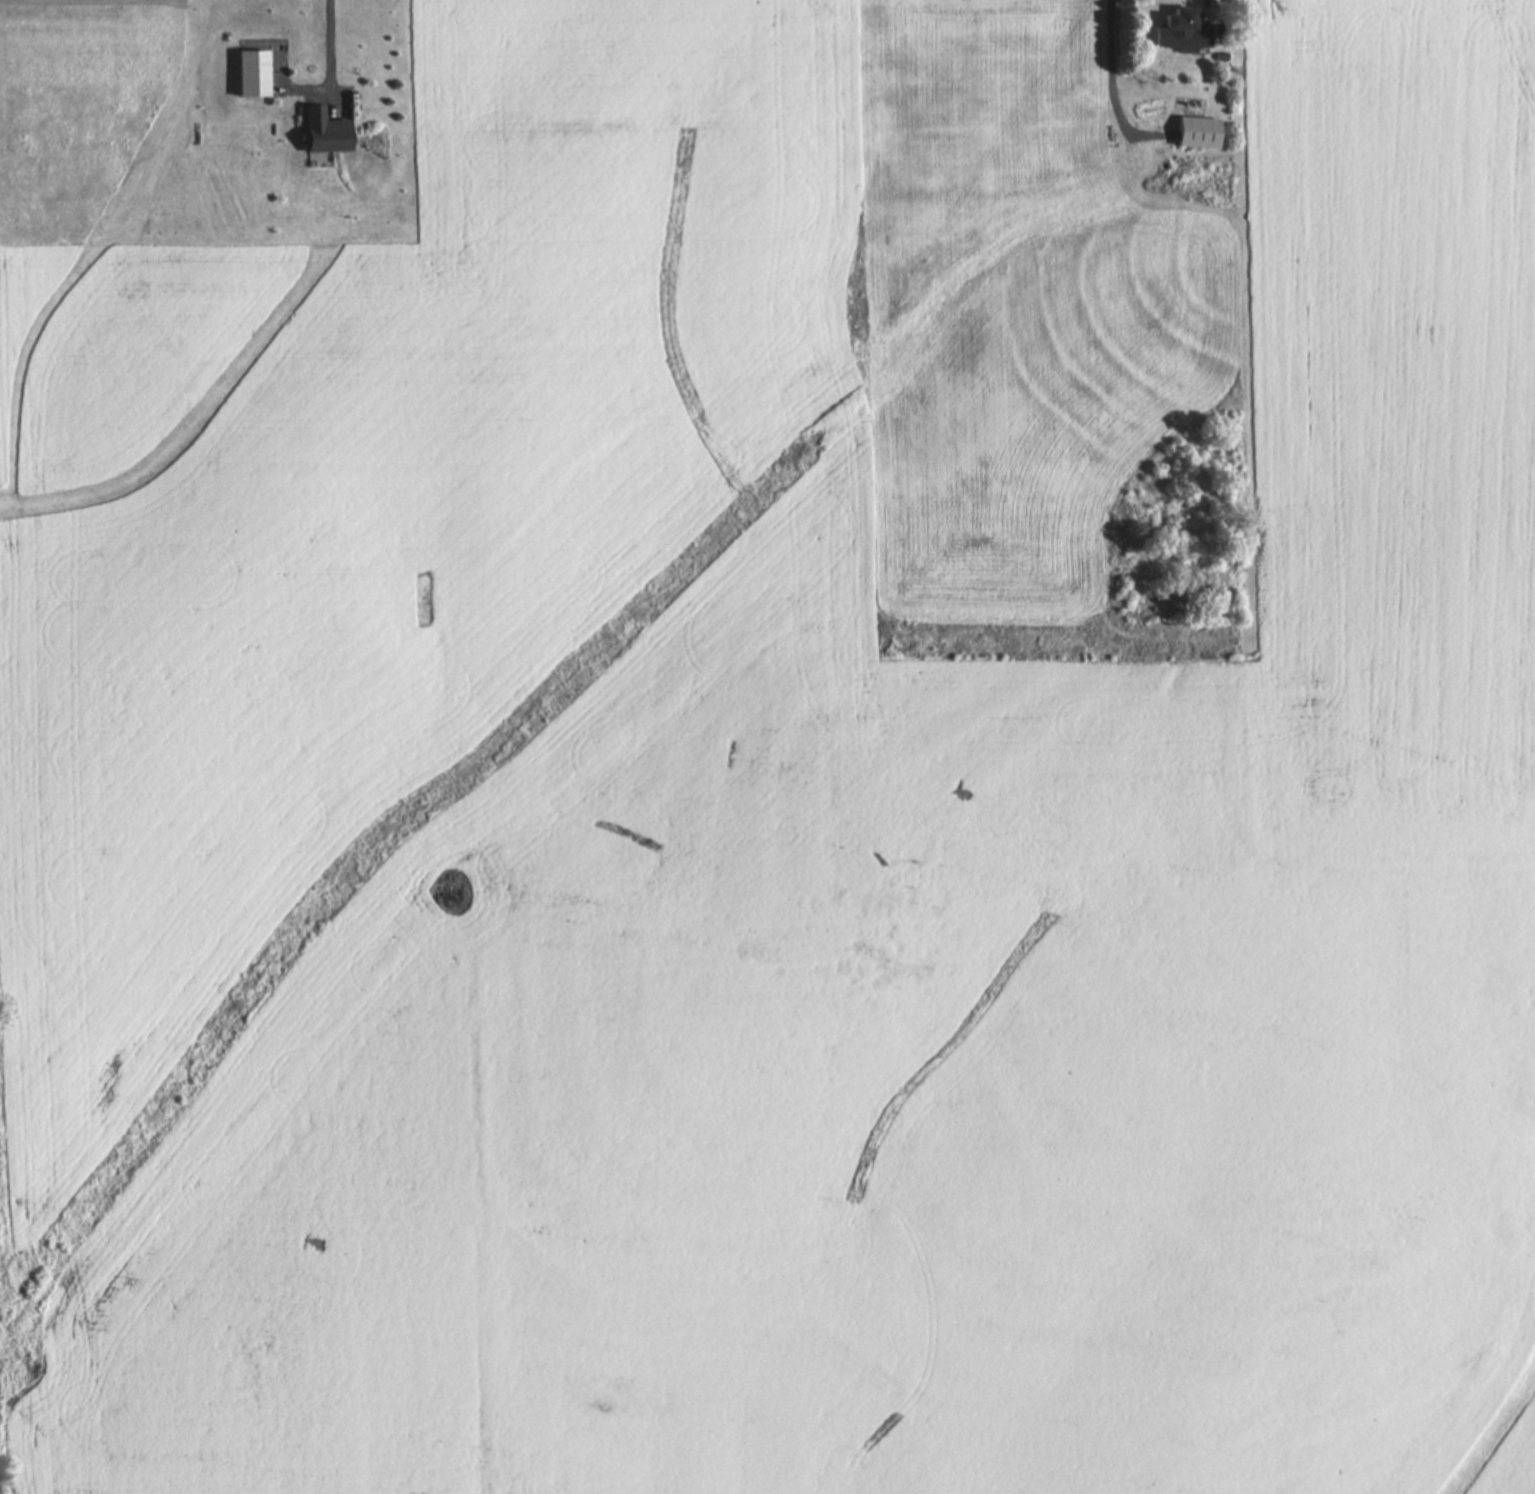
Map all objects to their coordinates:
building: (1184, 35)
building: (326, 130)

